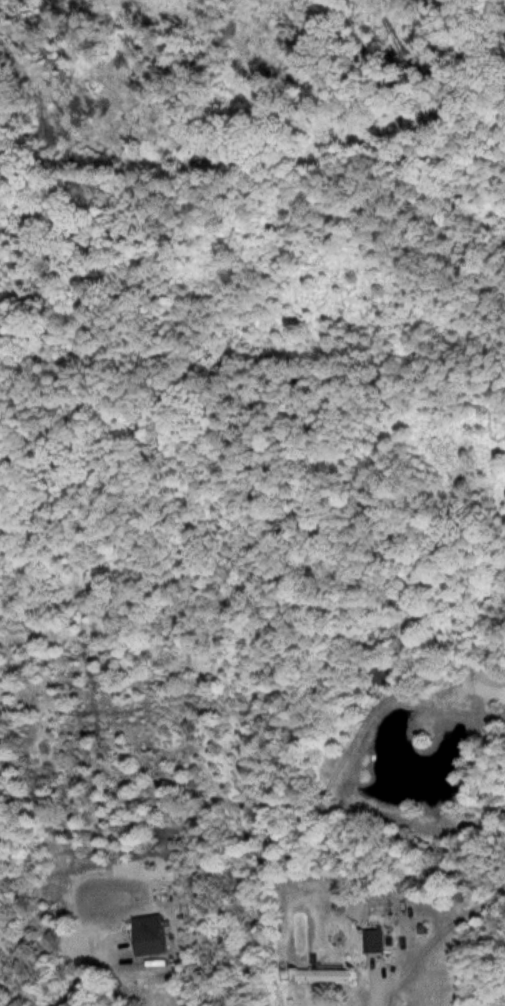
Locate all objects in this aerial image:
building: (156, 942)
building: (377, 943)
road: (84, 969)
building: (328, 977)
road: (380, 990)

